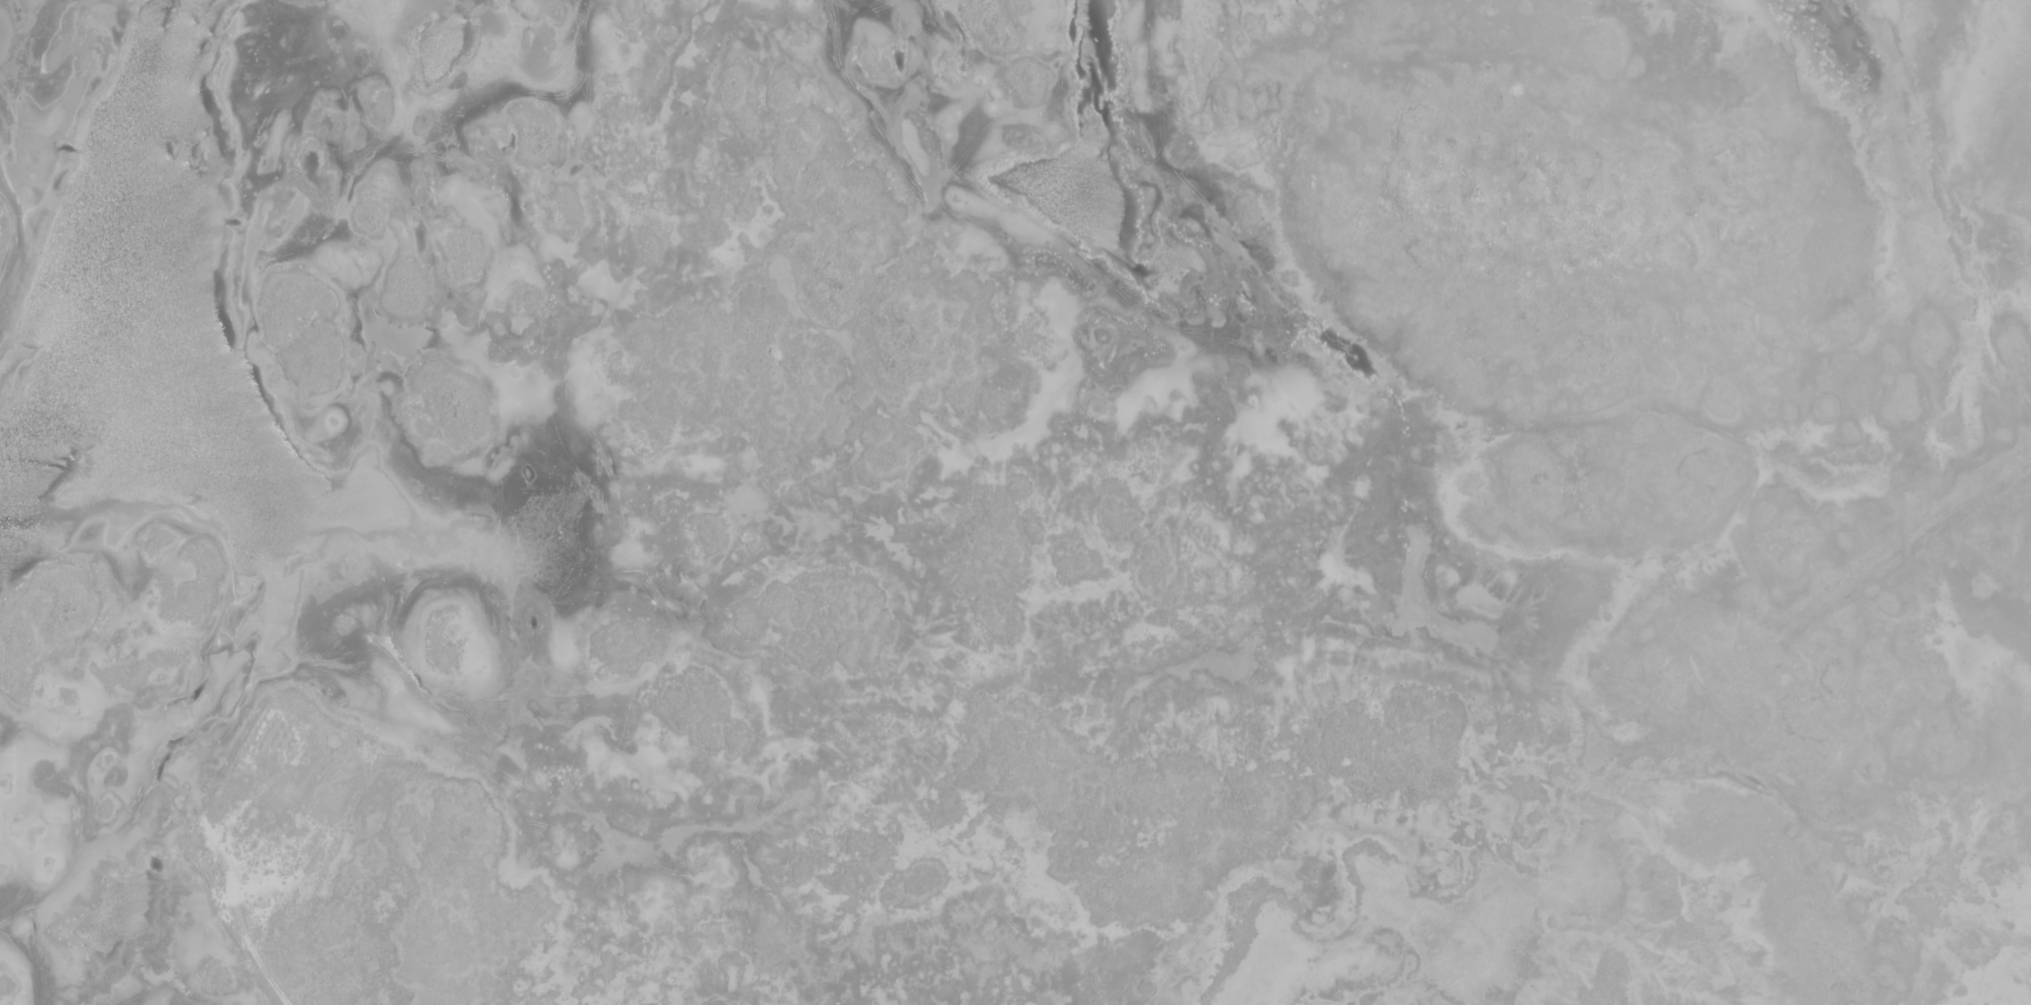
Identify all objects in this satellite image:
park: (1015, 502)

